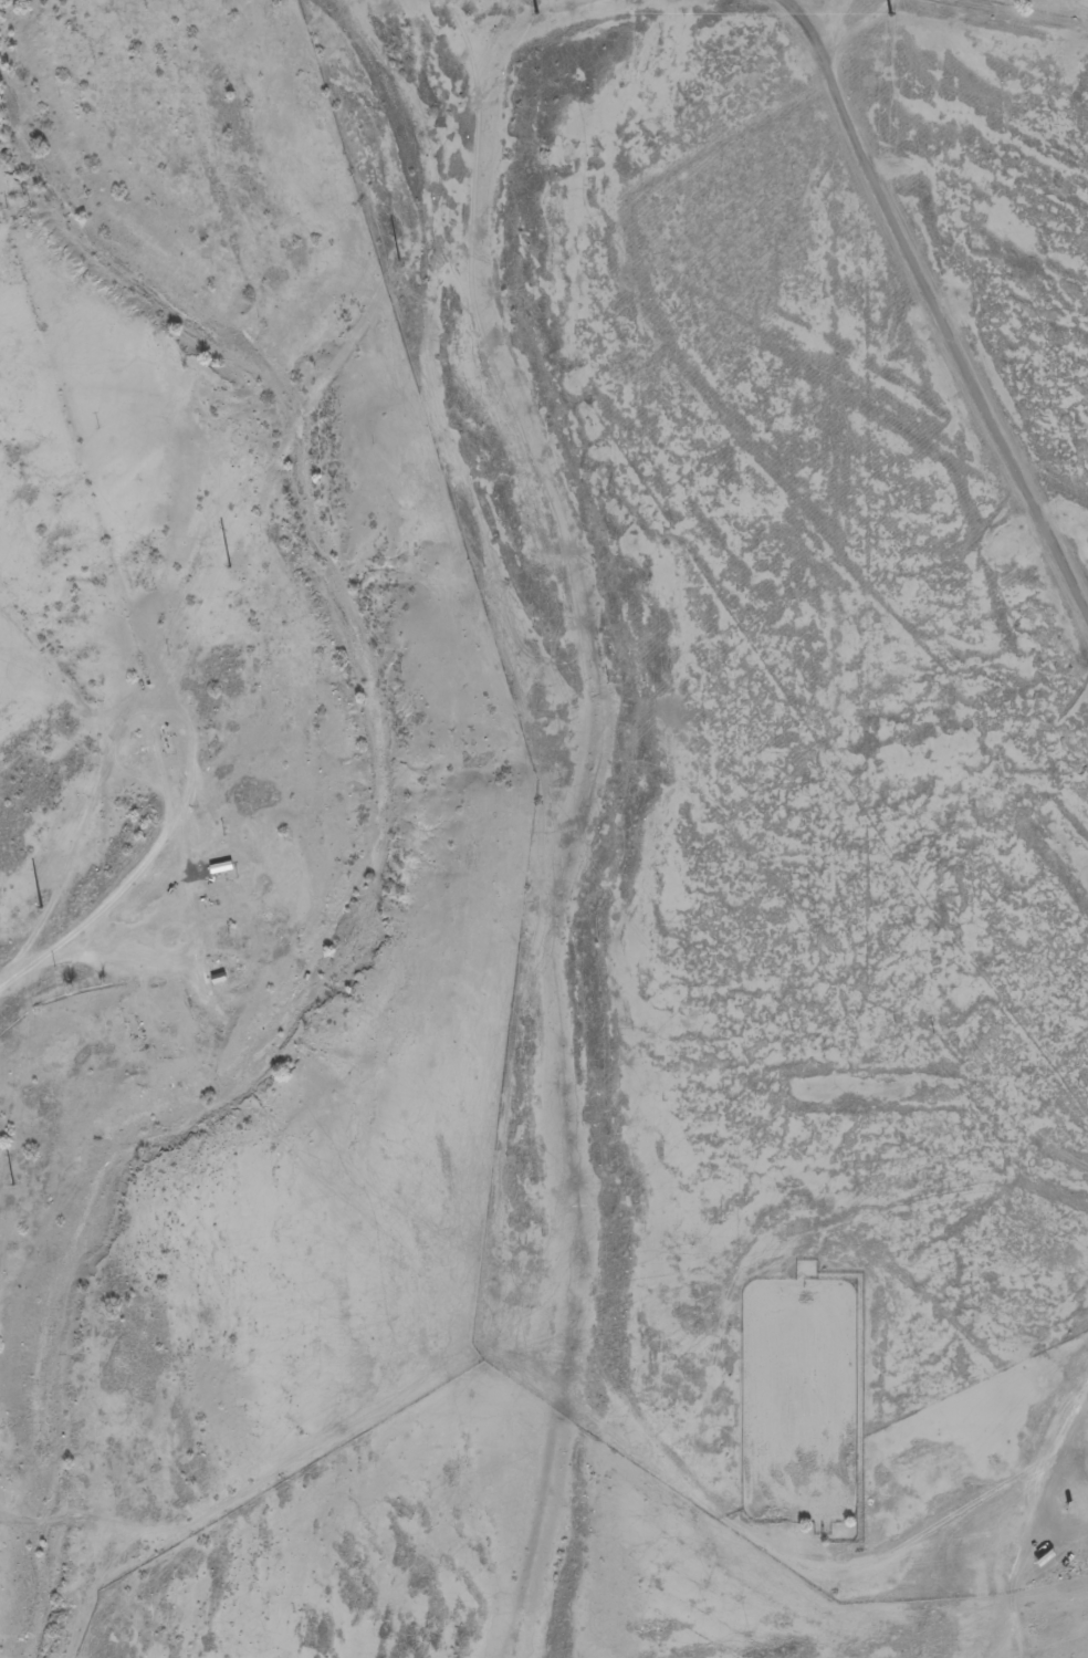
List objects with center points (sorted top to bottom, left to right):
power tower: (535, 11)
power tower: (889, 14)
power tower: (398, 260)
road: (931, 299)
power tower: (226, 566)
road: (138, 874)
power tower: (39, 907)
building: (213, 978)
power tower: (11, 1185)

